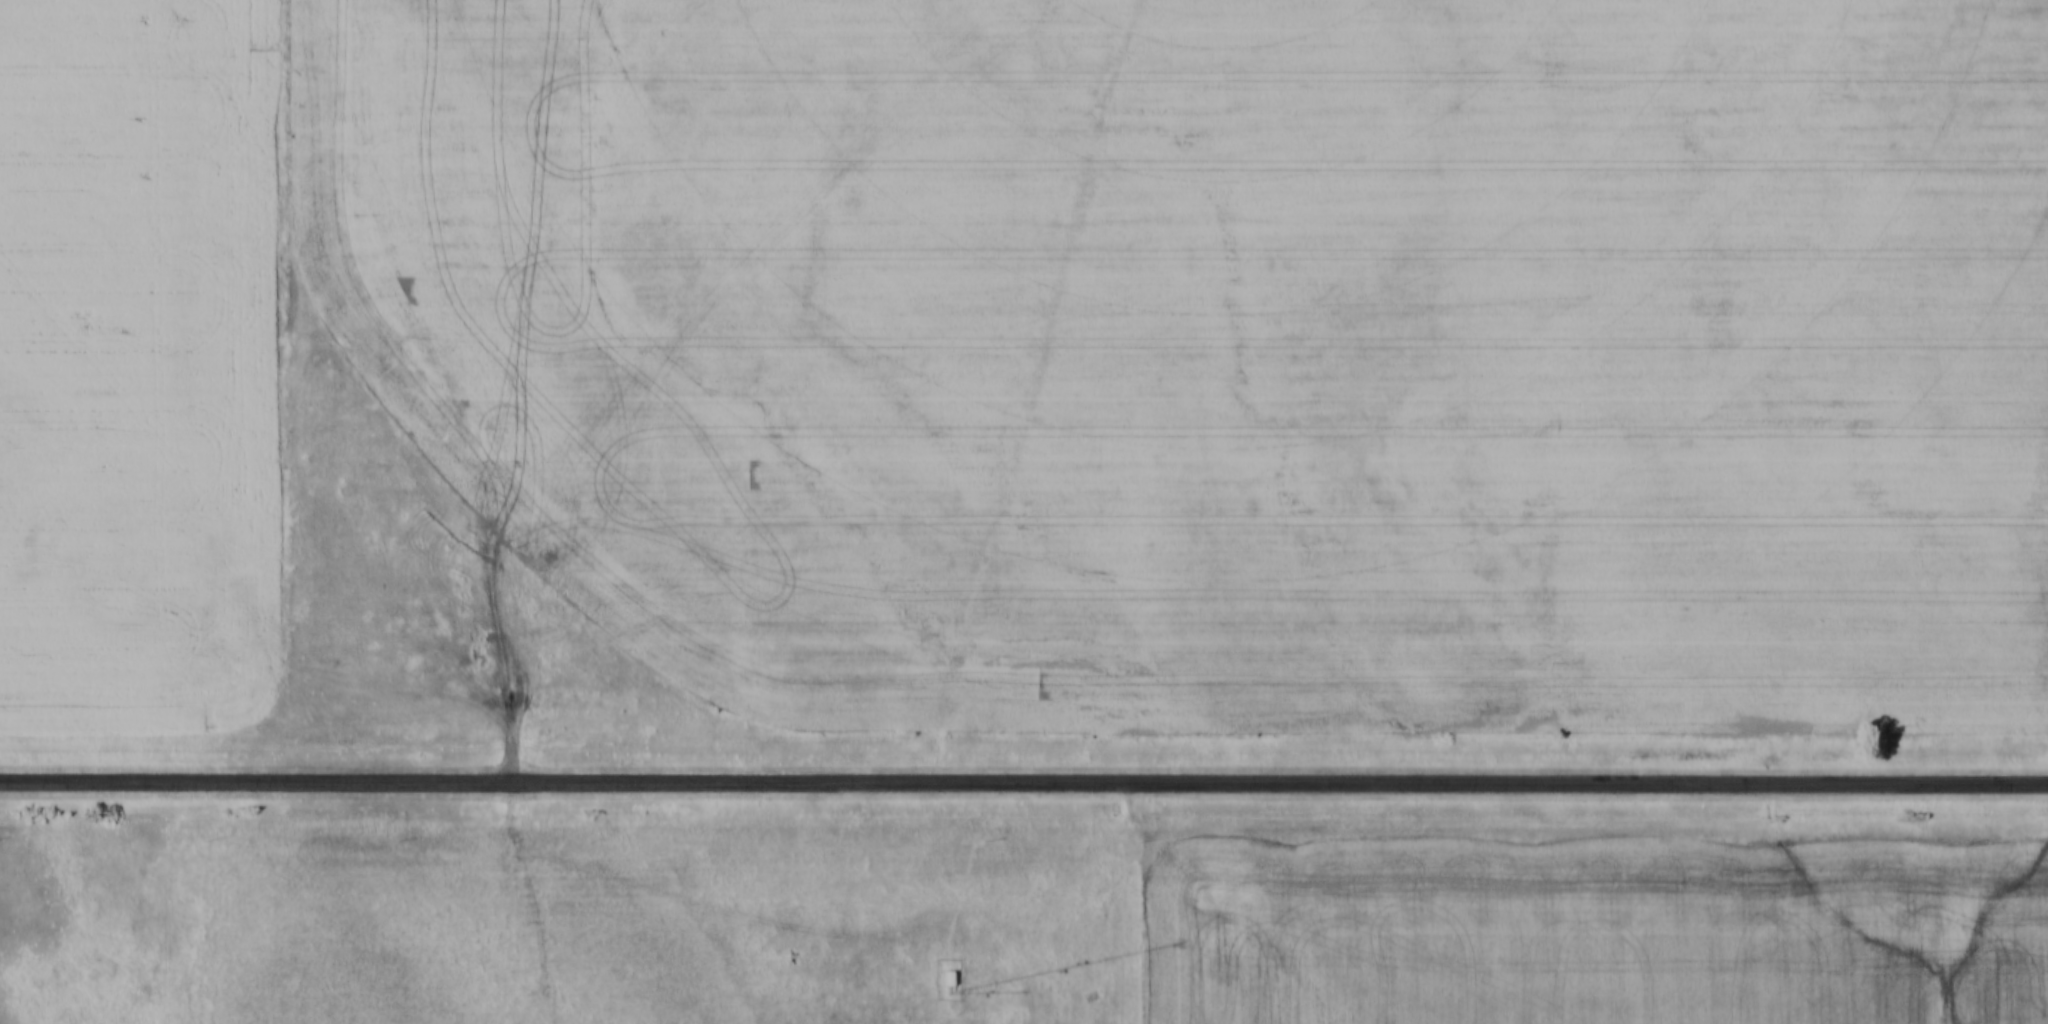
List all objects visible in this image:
crop: (1228, 347)
road: (1023, 784)
building: (942, 978)

